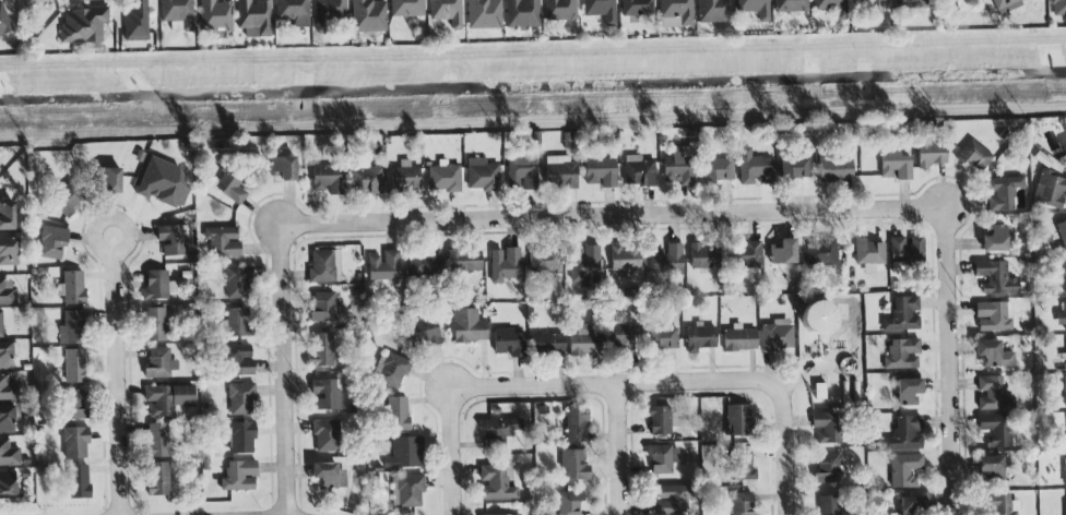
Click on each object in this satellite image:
building: (948, 1)
building: (34, 2)
building: (909, 4)
building: (1006, 4)
building: (790, 5)
building: (872, 5)
building: (405, 8)
building: (636, 8)
building: (831, 8)
building: (1057, 8)
building: (754, 9)
building: (559, 10)
building: (600, 10)
building: (292, 11)
building: (713, 11)
building: (446, 12)
building: (327, 13)
building: (674, 13)
building: (176, 14)
building: (483, 14)
building: (521, 14)
building: (214, 15)
building: (367, 15)
building: (252, 19)
building: (3, 22)
building: (135, 22)
building: (82, 25)
road: (532, 53)
road: (532, 123)
building: (1065, 131)
building: (1063, 143)
building: (929, 155)
building: (974, 156)
building: (893, 166)
building: (283, 167)
building: (678, 168)
building: (796, 168)
building: (754, 169)
building: (834, 169)
building: (716, 170)
building: (521, 172)
building: (559, 172)
building: (600, 172)
building: (637, 172)
building: (482, 176)
building: (403, 177)
building: (364, 179)
building: (442, 179)
building: (327, 180)
building: (106, 181)
building: (162, 183)
building: (232, 187)
building: (1050, 190)
building: (1002, 193)
building: (67, 199)
building: (5, 216)
road: (103, 219)
road: (613, 220)
building: (1062, 235)
building: (994, 239)
building: (171, 240)
building: (51, 243)
building: (222, 243)
building: (904, 250)
building: (8, 252)
building: (782, 252)
building: (820, 253)
building: (867, 253)
building: (746, 255)
building: (702, 257)
building: (543, 260)
building: (463, 261)
building: (625, 261)
building: (666, 261)
building: (423, 263)
building: (504, 265)
building: (584, 265)
building: (320, 266)
building: (383, 266)
building: (995, 277)
building: (1063, 277)
building: (237, 283)
building: (155, 286)
building: (71, 288)
building: (7, 292)
building: (322, 307)
building: (902, 314)
building: (993, 316)
building: (1061, 318)
building: (818, 320)
storage tank: (818, 320)
building: (235, 323)
building: (154, 325)
building: (467, 326)
building: (0, 328)
building: (71, 328)
building: (422, 332)
building: (775, 336)
building: (624, 338)
building: (662, 338)
building: (699, 338)
building: (738, 339)
water tower: (827, 339)
building: (583, 343)
building: (508, 344)
building: (546, 345)
building: (321, 350)
building: (901, 355)
building: (992, 355)
building: (5, 356)
building: (237, 361)
building: (158, 363)
road: (948, 364)
building: (73, 367)
building: (391, 370)
road: (284, 372)
road: (119, 383)
building: (7, 390)
road: (616, 391)
building: (907, 392)
building: (1065, 393)
building: (325, 394)
building: (993, 395)
building: (166, 399)
building: (240, 400)
building: (73, 406)
building: (396, 414)
building: (5, 419)
building: (660, 420)
building: (737, 421)
building: (575, 426)
building: (825, 428)
building: (995, 430)
building: (497, 431)
building: (904, 434)
building: (325, 436)
building: (240, 439)
building: (156, 441)
building: (74, 443)
road: (620, 452)
road: (450, 453)
building: (8, 454)
building: (404, 454)
road: (783, 456)
building: (662, 458)
building: (573, 465)
building: (741, 466)
building: (991, 468)
building: (827, 469)
building: (1064, 469)
building: (904, 470)
building: (238, 477)
building: (328, 477)
building: (157, 479)
building: (78, 482)
building: (494, 484)
building: (7, 486)
building: (406, 492)
building: (673, 501)
building: (567, 503)
building: (741, 504)
building: (828, 505)
building: (911, 505)
building: (999, 505)
building: (1065, 510)

